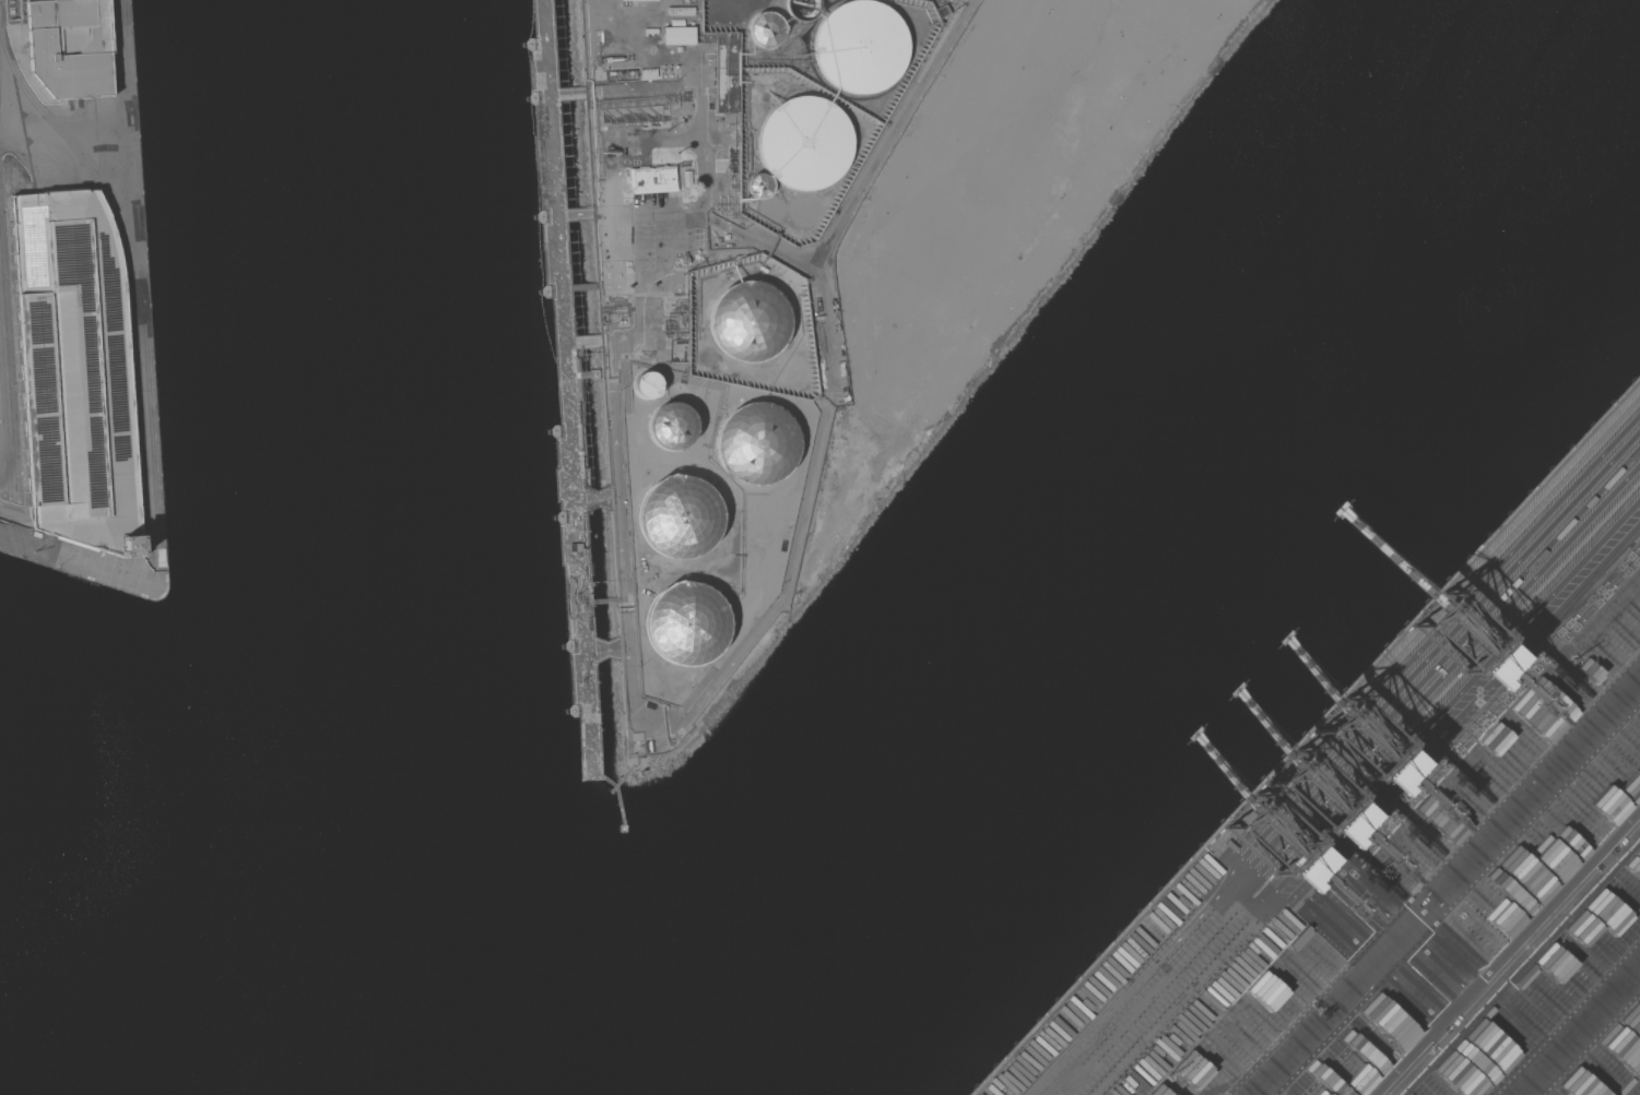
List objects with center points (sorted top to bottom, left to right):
building: (805, 8)
storage tank: (805, 8)
building: (942, 11)
building: (768, 27)
storage tank: (768, 27)
building: (679, 35)
building: (863, 45)
storage tank: (863, 45)
building: (72, 46)
building: (725, 70)
building: (649, 73)
building: (806, 142)
storage tank: (806, 142)
building: (689, 168)
building: (652, 179)
building: (760, 186)
storage tank: (760, 186)
building: (562, 188)
building: (684, 260)
building: (750, 322)
storage tank: (750, 322)
pier: (577, 371)
building: (79, 373)
building: (647, 386)
storage tank: (647, 386)
road: (830, 392)
railway: (150, 422)
railway: (141, 424)
building: (672, 428)
storage tank: (672, 428)
building: (758, 447)
storage tank: (758, 447)
building: (677, 522)
storage tank: (677, 522)
pier: (1, 529)
building: (686, 630)
storage tank: (686, 630)

